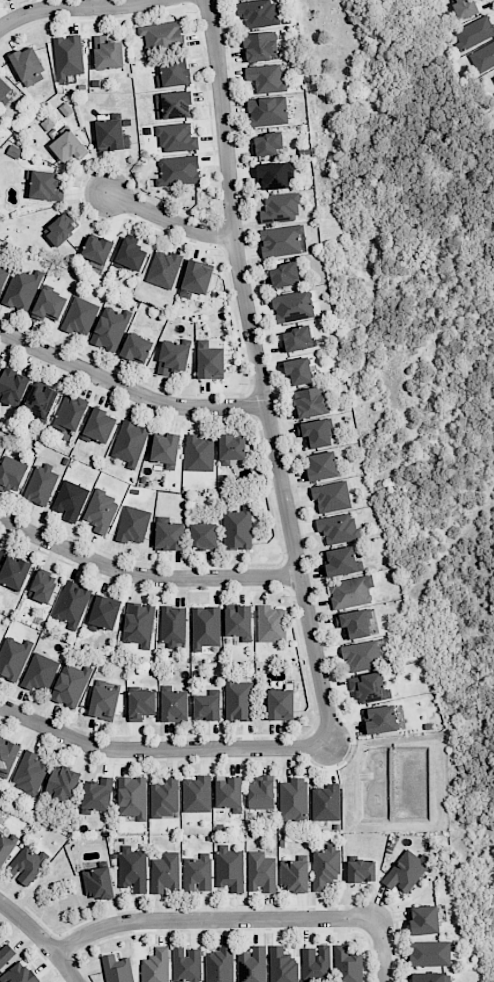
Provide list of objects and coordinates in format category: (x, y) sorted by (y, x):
road: (77, 8)
building: (464, 8)
building: (257, 13)
building: (473, 33)
building: (162, 35)
building: (259, 46)
building: (107, 53)
building: (68, 56)
building: (482, 57)
building: (28, 66)
building: (172, 73)
building: (265, 78)
building: (4, 90)
building: (173, 105)
building: (267, 111)
building: (112, 134)
building: (176, 138)
building: (267, 143)
building: (68, 146)
building: (178, 170)
building: (274, 175)
building: (45, 186)
building: (280, 208)
road: (169, 221)
building: (60, 229)
building: (282, 241)
building: (97, 249)
building: (130, 255)
building: (163, 269)
building: (284, 275)
building: (3, 276)
building: (196, 278)
building: (21, 289)
building: (48, 305)
building: (292, 306)
building: (79, 316)
crop: (418, 326)
building: (110, 328)
building: (295, 339)
building: (136, 348)
building: (172, 357)
building: (209, 361)
building: (0, 363)
building: (298, 370)
road: (259, 375)
building: (12, 387)
road: (128, 390)
building: (40, 400)
building: (310, 402)
building: (70, 412)
building: (99, 426)
building: (315, 433)
building: (129, 443)
building: (165, 449)
building: (231, 449)
building: (0, 452)
building: (199, 453)
building: (322, 466)
building: (11, 474)
building: (41, 484)
building: (331, 496)
building: (70, 500)
building: (101, 511)
building: (132, 525)
building: (237, 528)
building: (337, 528)
building: (203, 535)
building: (169, 536)
building: (0, 553)
building: (340, 562)
building: (14, 572)
road: (145, 572)
building: (43, 586)
building: (350, 591)
building: (71, 604)
building: (103, 613)
building: (239, 622)
building: (270, 623)
building: (354, 623)
building: (138, 624)
building: (173, 626)
building: (205, 627)
building: (361, 655)
building: (13, 657)
building: (39, 672)
building: (70, 685)
building: (369, 687)
building: (238, 700)
building: (103, 702)
building: (141, 704)
building: (280, 704)
building: (174, 706)
building: (207, 707)
building: (379, 719)
road: (162, 748)
building: (7, 757)
building: (29, 773)
building: (62, 784)
building: (261, 792)
building: (229, 793)
building: (196, 794)
building: (97, 795)
building: (132, 797)
building: (164, 798)
building: (293, 800)
building: (325, 803)
building: (5, 847)
building: (26, 865)
building: (325, 867)
building: (229, 868)
building: (132, 869)
building: (361, 871)
building: (405, 871)
building: (261, 872)
building: (165, 873)
building: (197, 873)
building: (294, 875)
building: (98, 882)
road: (211, 919)
building: (424, 920)
road: (41, 938)
road: (383, 949)
building: (429, 953)
building: (5, 954)
building: (186, 964)
building: (316, 964)
building: (219, 965)
building: (252, 965)
building: (281, 965)
building: (347, 965)
building: (155, 966)
building: (116, 969)
building: (18, 974)
building: (430, 977)

